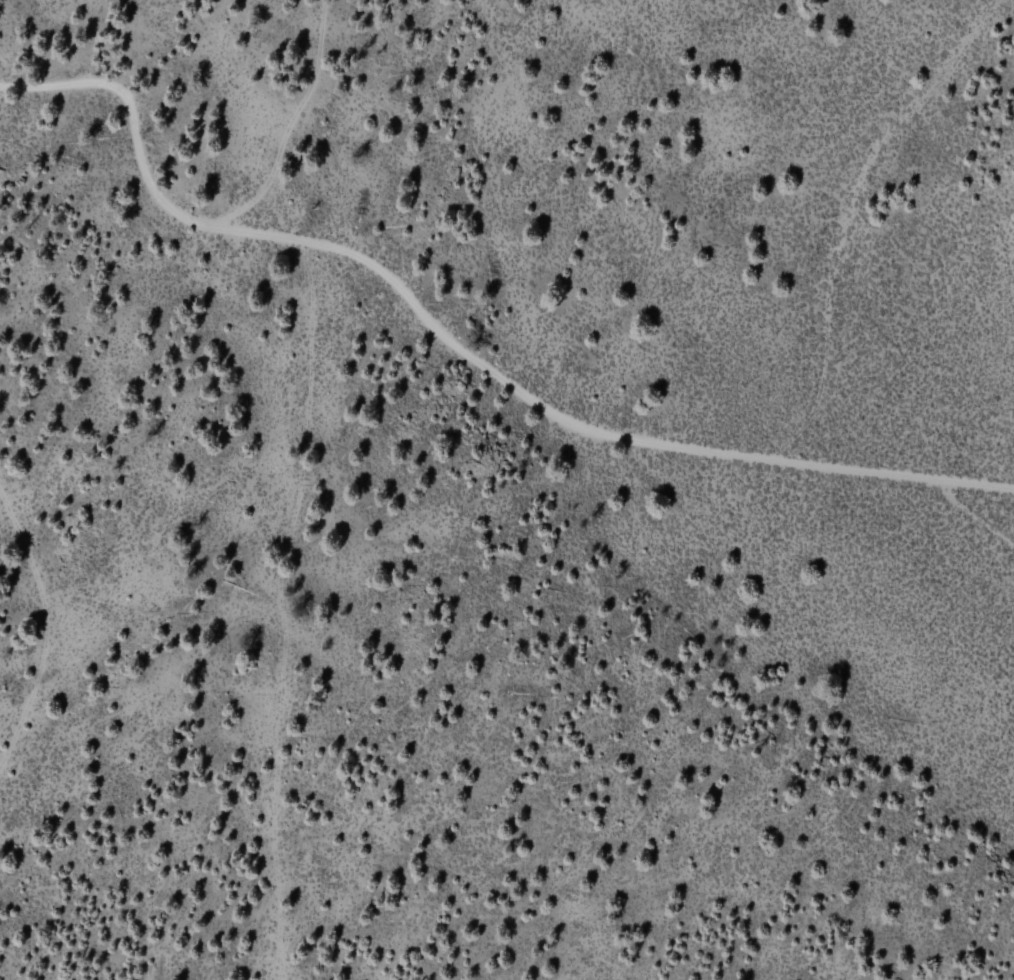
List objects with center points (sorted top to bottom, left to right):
road: (282, 119)
road: (838, 285)
road: (458, 349)
road: (826, 400)
road: (286, 612)
road: (49, 630)

